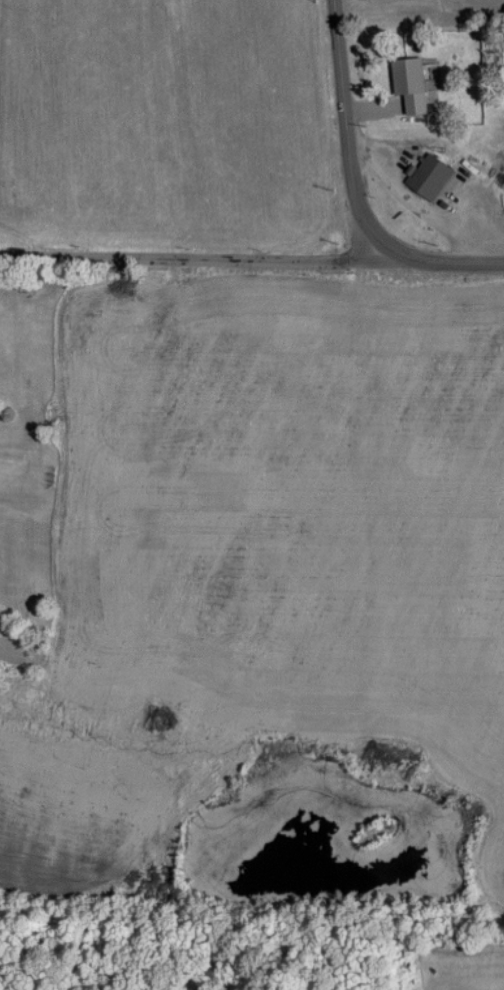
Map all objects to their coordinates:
building: (407, 82)
road: (345, 134)
building: (428, 176)
road: (433, 267)
road: (180, 269)

